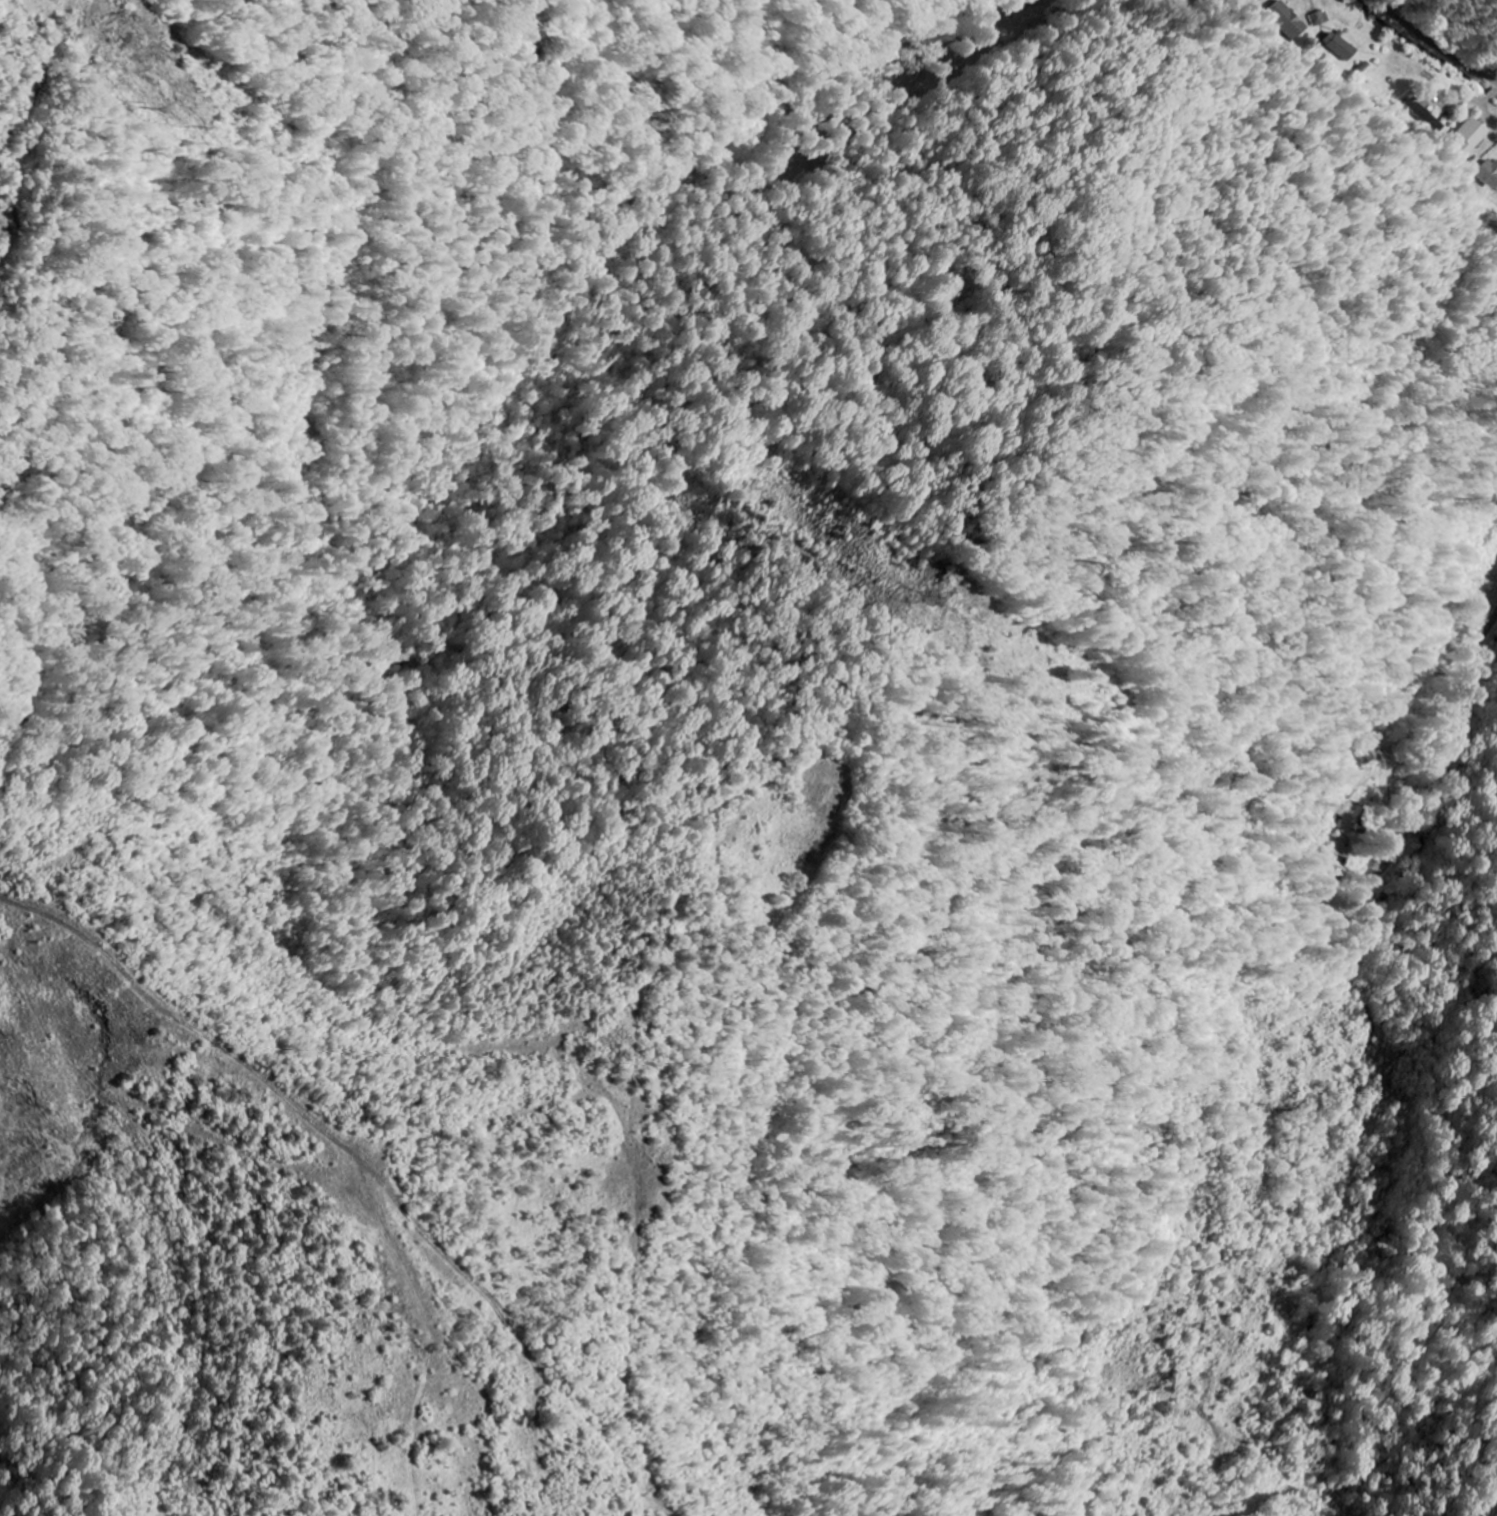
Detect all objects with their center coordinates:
building: (1262, 0)
building: (1320, 18)
building: (1288, 20)
road: (1438, 41)
building: (1340, 46)
building: (1470, 137)
building: (1490, 173)
road: (1435, 753)
building: (1349, 818)
building: (1333, 870)

